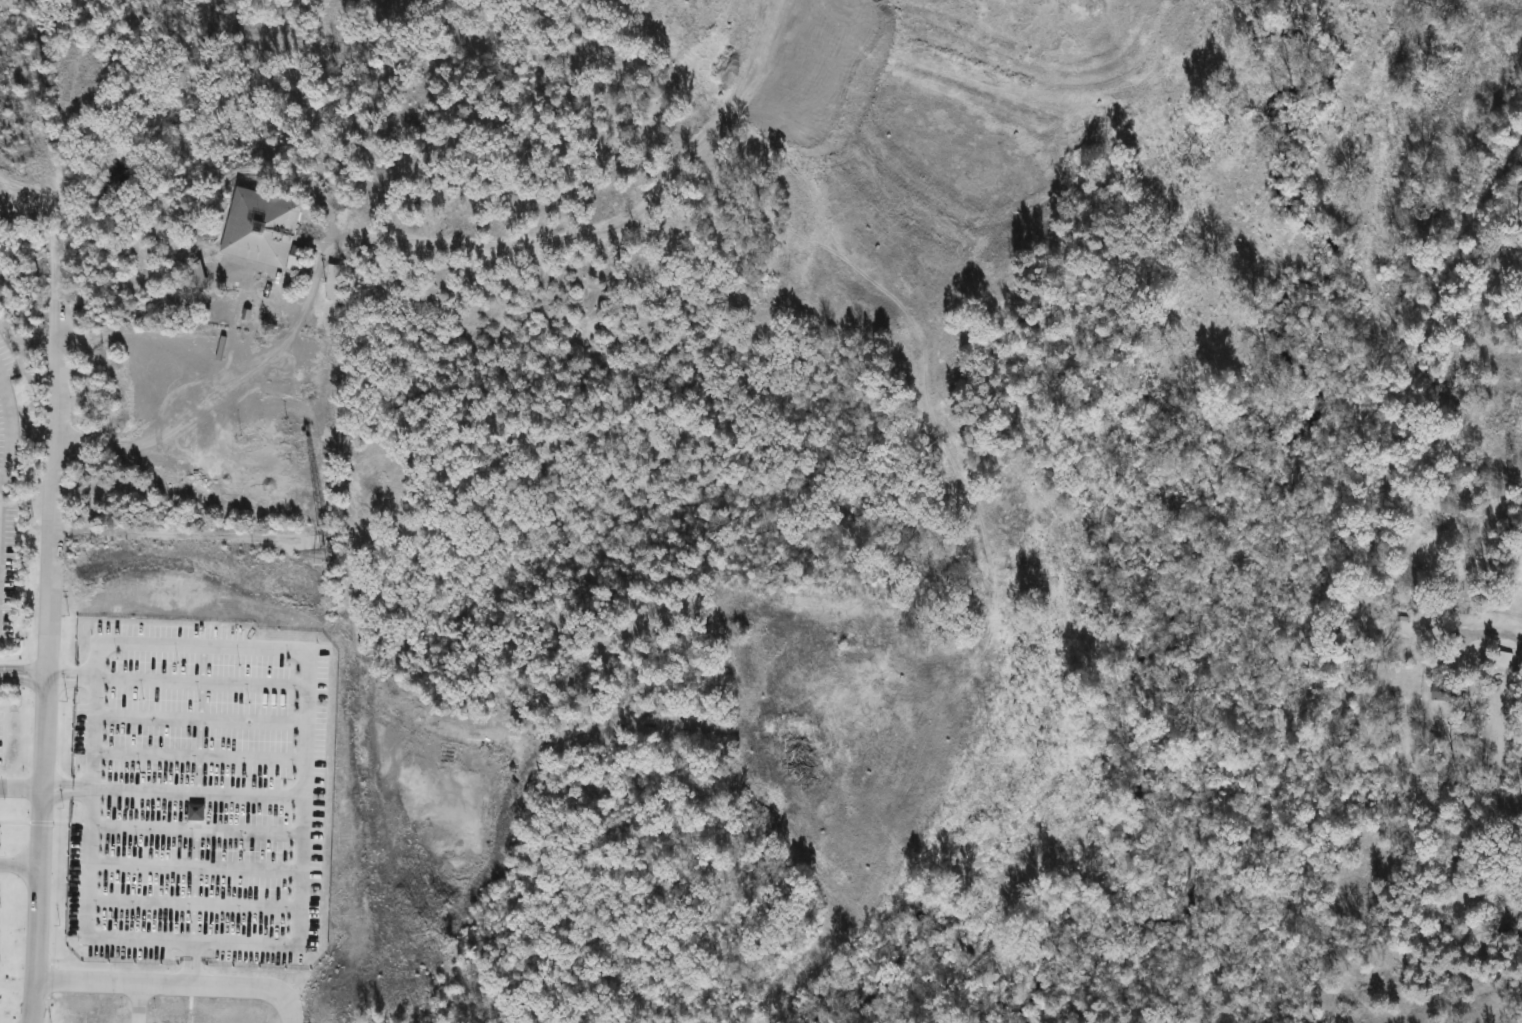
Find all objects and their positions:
building: (261, 229)
building: (331, 280)
road: (165, 394)
road: (10, 433)
parking lot: (6, 492)
road: (1509, 636)
road: (46, 662)
road: (22, 670)
road: (22, 680)
building: (1440, 692)
road: (64, 784)
road: (20, 786)
road: (85, 853)
road: (18, 865)
road: (167, 986)
road: (136, 1004)

